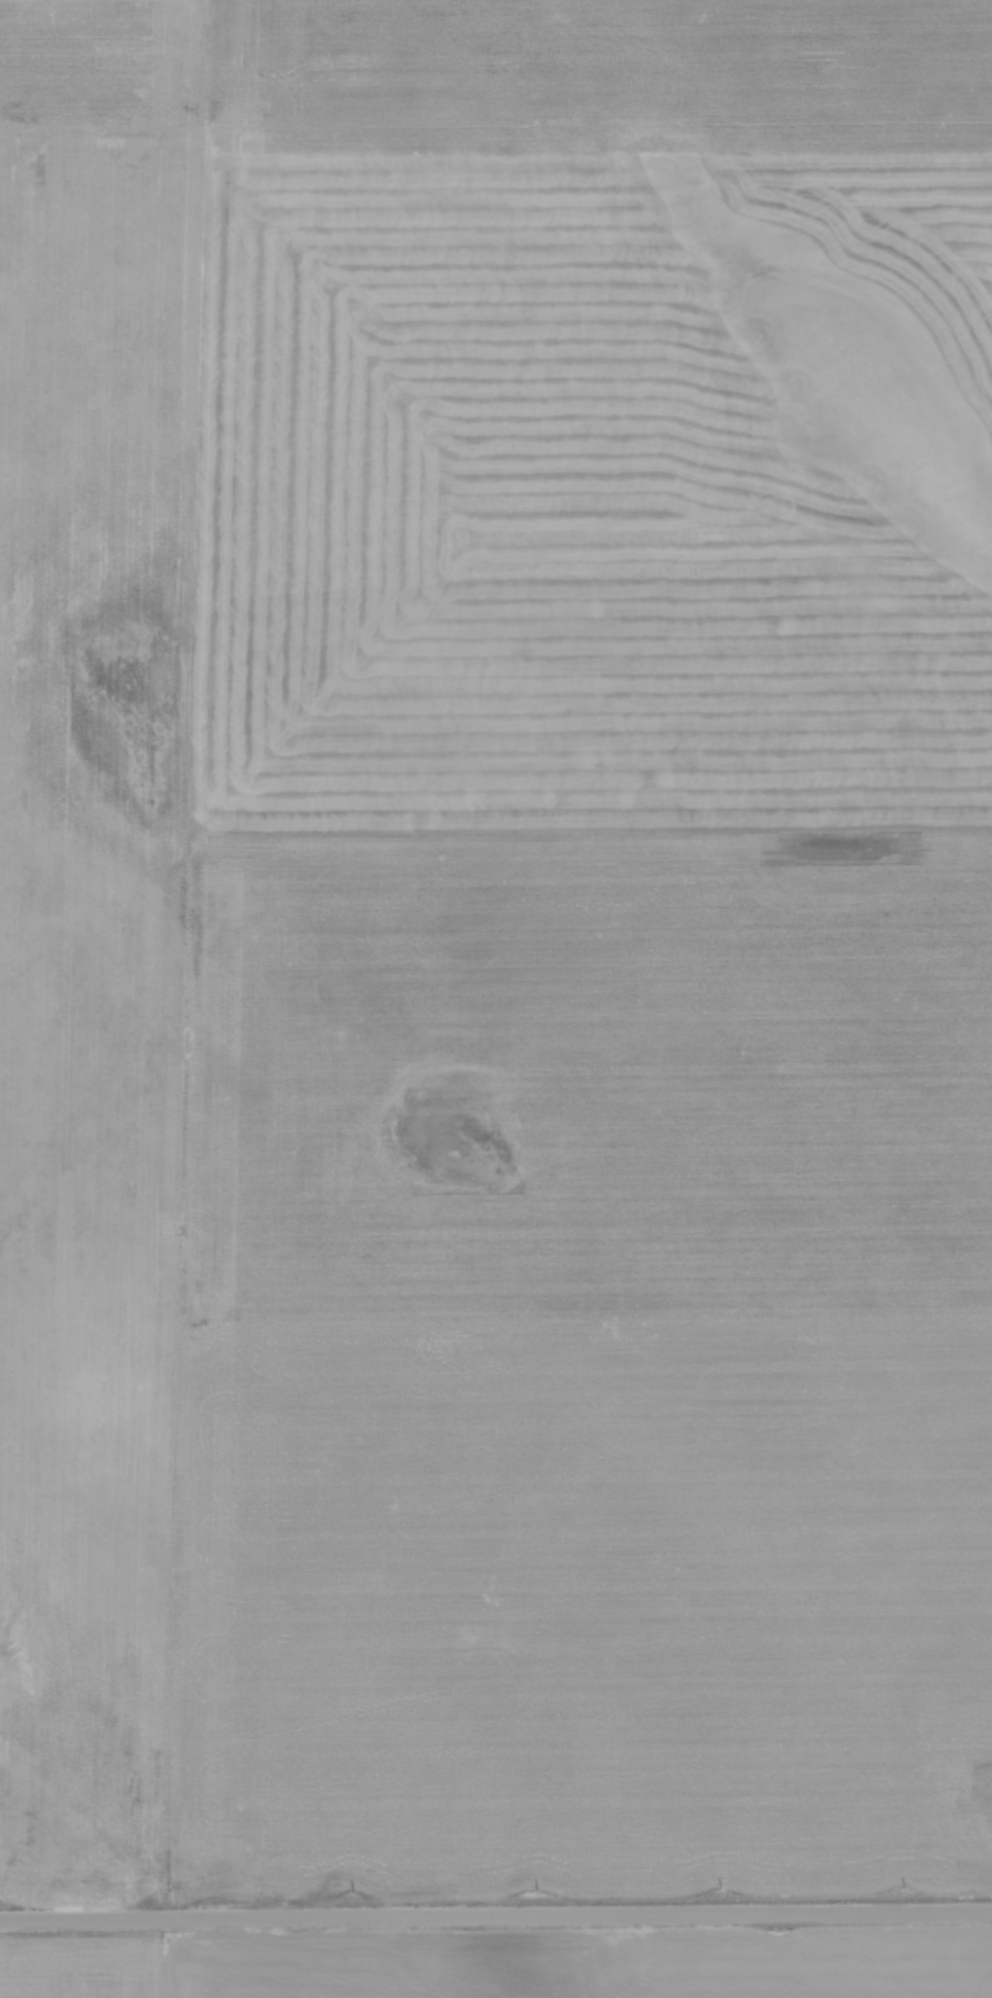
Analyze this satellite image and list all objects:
road: (496, 1918)

